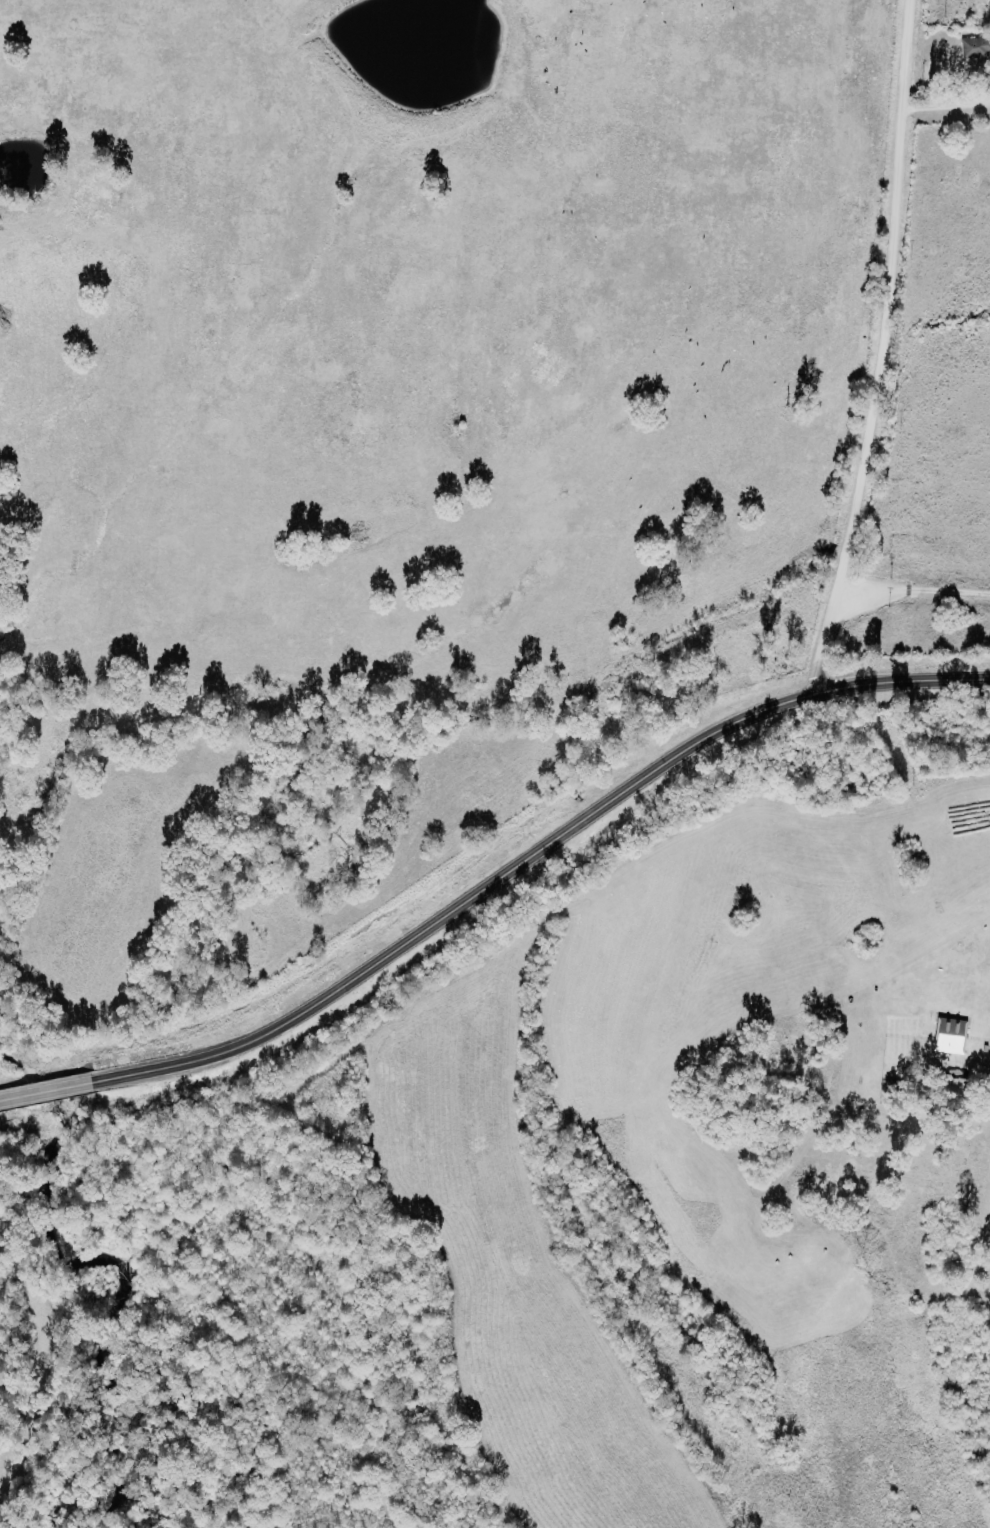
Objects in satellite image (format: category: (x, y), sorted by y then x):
building: (977, 47)
road: (946, 105)
road: (880, 349)
road: (532, 855)
building: (952, 1036)
road: (44, 1091)

